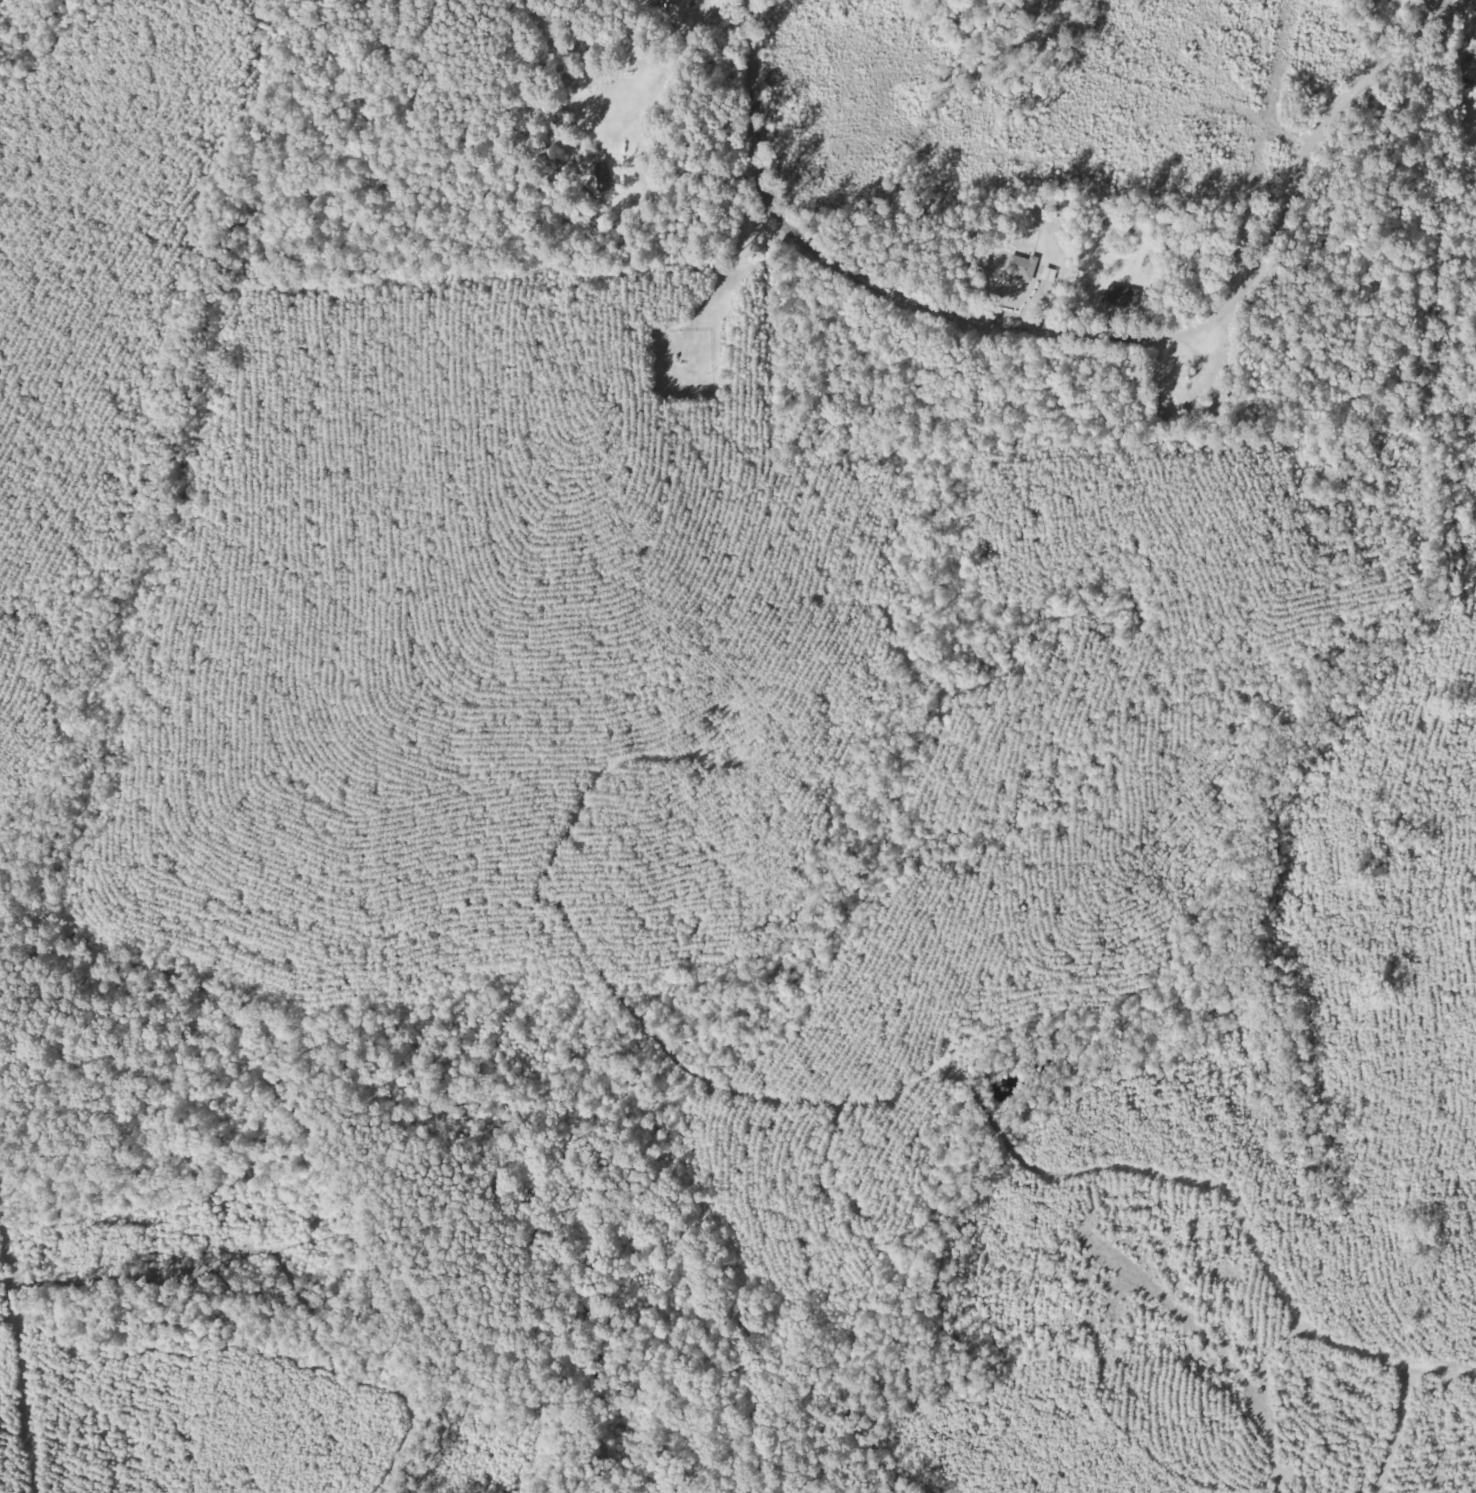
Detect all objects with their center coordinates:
building: (603, 179)
building: (1024, 267)
road: (1074, 331)

